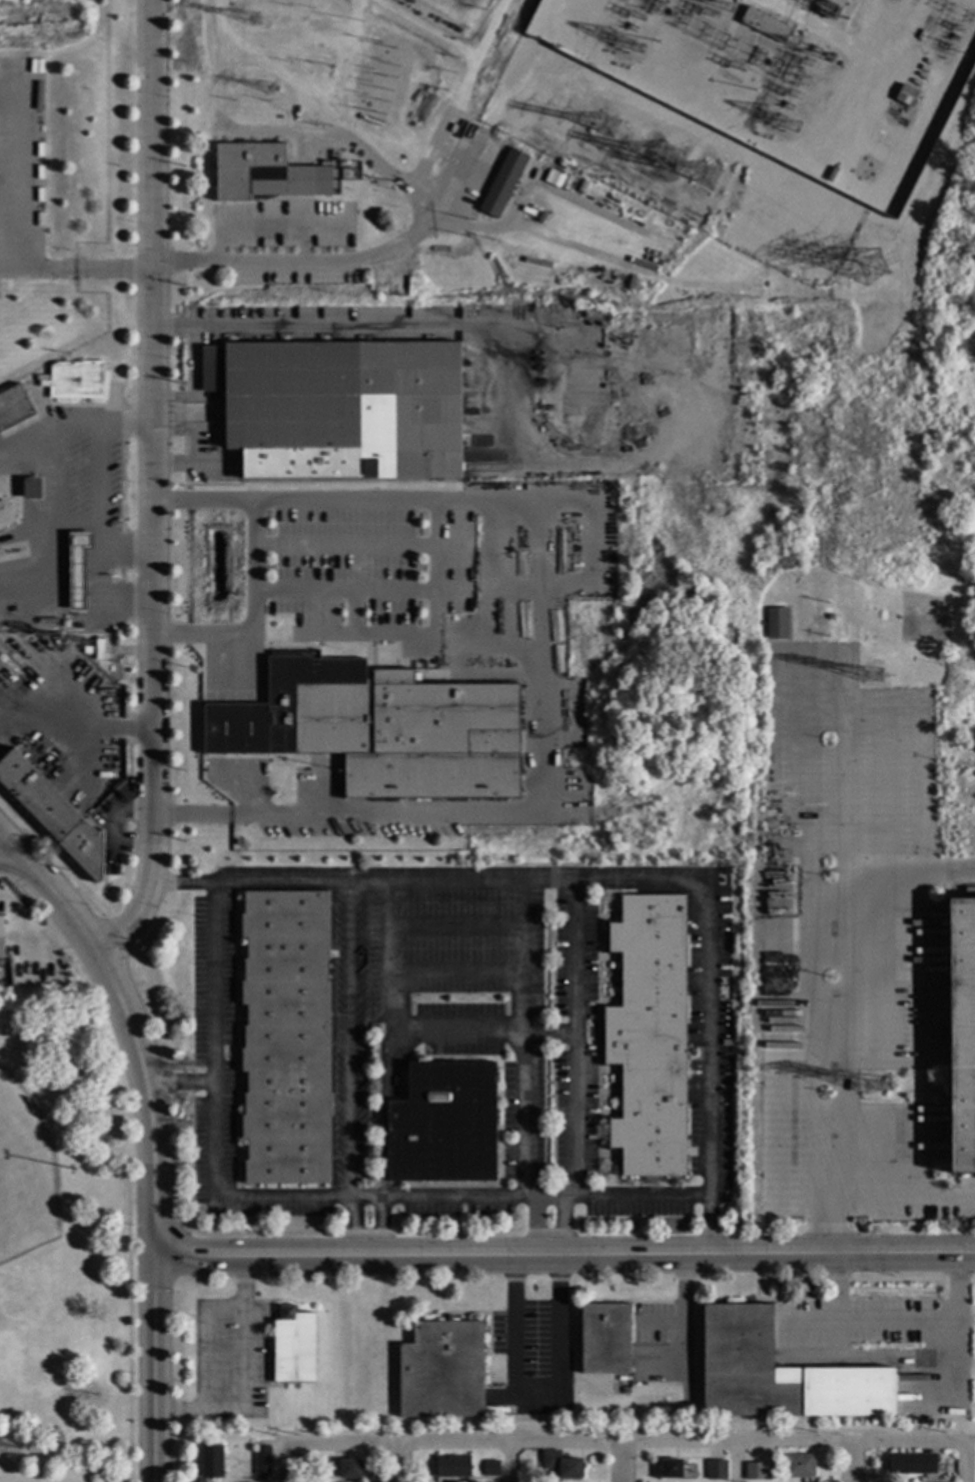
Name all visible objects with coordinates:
power tower: (254, 19)
building: (764, 25)
road: (424, 28)
power tower: (270, 92)
road: (327, 95)
building: (907, 96)
power substation: (731, 110)
power tower: (602, 125)
building: (349, 174)
building: (263, 175)
power tower: (709, 178)
building: (502, 183)
road: (408, 240)
road: (74, 270)
power tower: (876, 271)
building: (3, 286)
building: (669, 339)
building: (74, 380)
building: (13, 407)
building: (339, 408)
road: (91, 423)
road: (20, 447)
road: (96, 476)
road: (57, 482)
road: (149, 488)
building: (30, 489)
road: (201, 502)
building: (1, 503)
road: (48, 551)
road: (97, 554)
road: (123, 555)
building: (77, 568)
road: (26, 578)
road: (123, 594)
road: (253, 617)
building: (830, 617)
building: (776, 623)
building: (78, 626)
building: (98, 650)
road: (540, 658)
power tower: (873, 679)
road: (839, 691)
road: (104, 728)
road: (50, 730)
building: (412, 736)
road: (886, 764)
road: (927, 766)
building: (52, 813)
road: (5, 850)
building: (192, 868)
road: (906, 879)
road: (616, 883)
road: (181, 884)
road: (52, 893)
road: (453, 924)
road: (520, 927)
building: (1, 937)
road: (385, 957)
building: (20, 969)
road: (453, 972)
road: (458, 1032)
road: (547, 1032)
building: (648, 1035)
building: (962, 1035)
building: (285, 1038)
road: (574, 1039)
road: (349, 1041)
road: (179, 1084)
road: (520, 1084)
power tower: (874, 1084)
road: (148, 1103)
road: (213, 1108)
road: (382, 1112)
building: (443, 1124)
park: (25, 1174)
road: (636, 1196)
road: (457, 1197)
road: (548, 1197)
road: (365, 1199)
road: (901, 1203)
road: (711, 1225)
park: (65, 1242)
road: (564, 1256)
road: (680, 1313)
road: (897, 1325)
building: (605, 1338)
road: (204, 1340)
building: (294, 1347)
building: (442, 1370)
road: (153, 1371)
building: (780, 1374)
road: (242, 1377)
building: (624, 1388)
road: (541, 1394)
road: (601, 1446)
building: (211, 1461)
building: (263, 1461)
road: (400, 1463)
road: (511, 1464)
building: (561, 1464)
road: (619, 1464)
road: (735, 1464)
road: (855, 1464)
building: (911, 1464)
road: (964, 1464)
building: (798, 1466)
building: (451, 1467)
building: (490, 1468)
building: (298, 1469)
building: (350, 1469)
building: (671, 1469)
building: (716, 1470)
building: (755, 1471)
building: (771, 1476)

